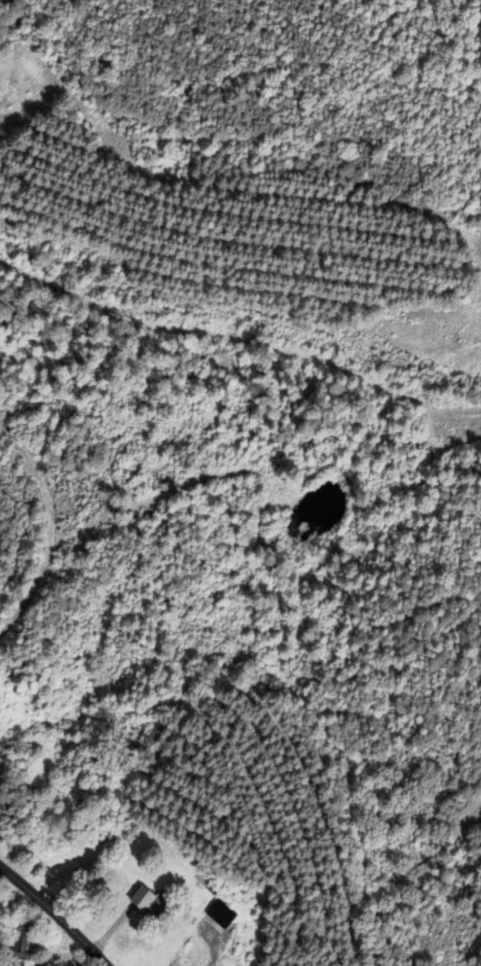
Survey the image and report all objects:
building: (142, 903)
road: (55, 914)
building: (18, 941)

